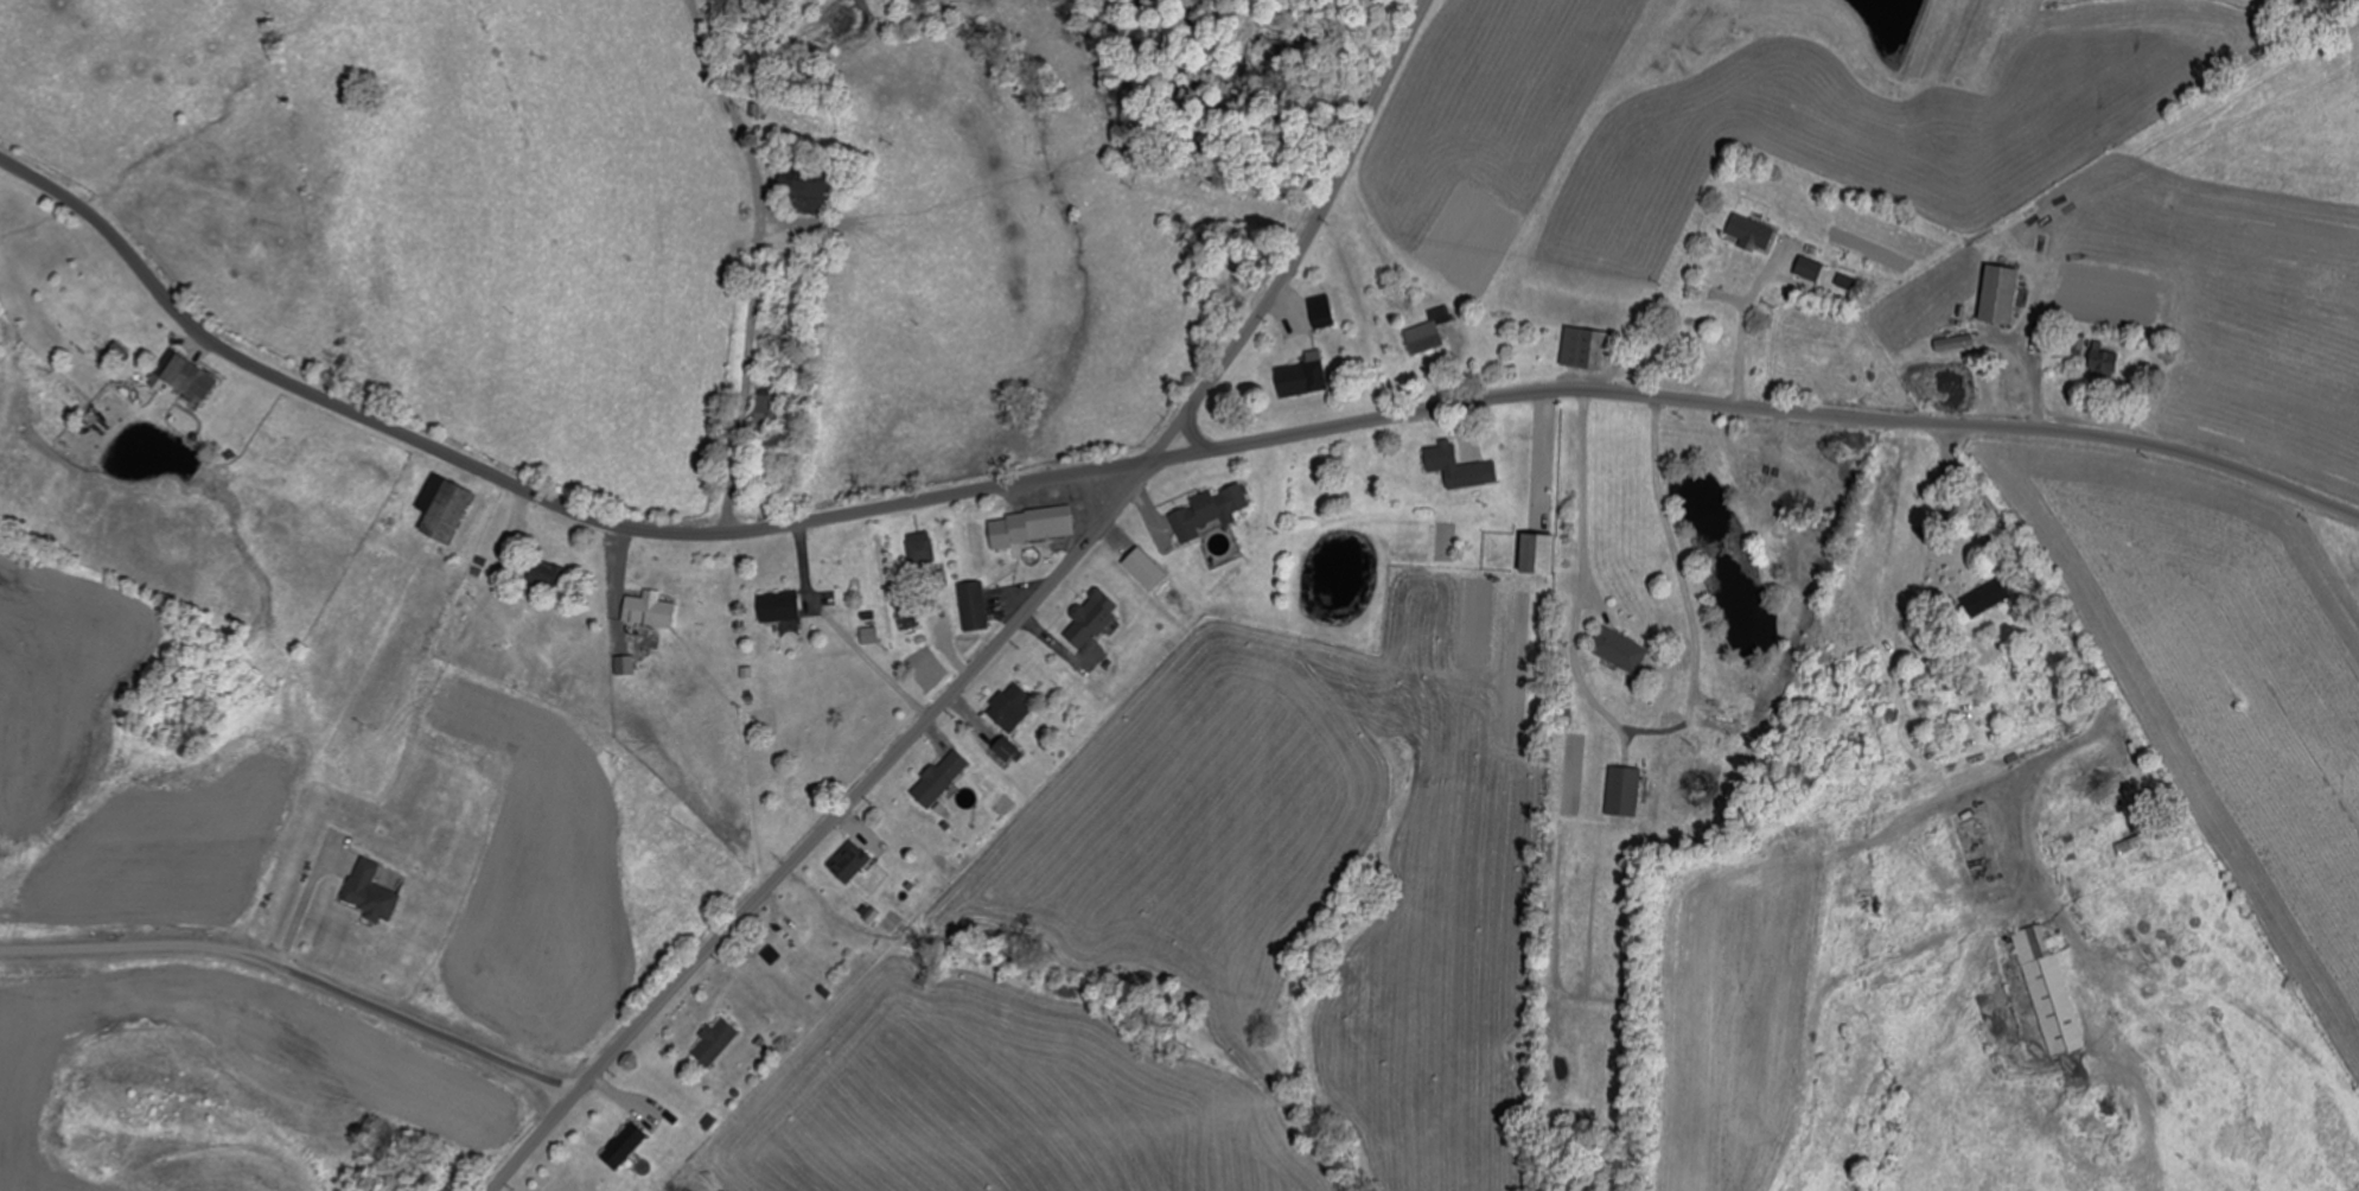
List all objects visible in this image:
building: (811, 190)
building: (1752, 234)
road: (719, 267)
building: (1811, 269)
building: (2003, 295)
building: (1322, 312)
building: (1429, 332)
building: (1697, 332)
building: (1955, 344)
building: (1586, 349)
building: (2106, 361)
building: (181, 374)
building: (1303, 380)
building: (771, 410)
road: (1757, 413)
building: (1455, 467)
building: (1775, 483)
road: (528, 498)
road: (1580, 501)
building: (448, 510)
building: (1204, 516)
building: (1032, 527)
building: (920, 548)
building: (1542, 555)
building: (1146, 566)
building: (544, 574)
building: (1989, 598)
building: (974, 605)
building: (779, 606)
building: (650, 610)
building: (1094, 618)
road: (1007, 631)
building: (1621, 650)
road: (2039, 669)
building: (1010, 706)
building: (1008, 751)
building: (2098, 776)
building: (942, 778)
building: (1624, 791)
building: (2146, 839)
building: (850, 861)
building: (370, 892)
road: (295, 975)
building: (2049, 991)
building: (2010, 998)
building: (716, 1042)
building: (625, 1146)

